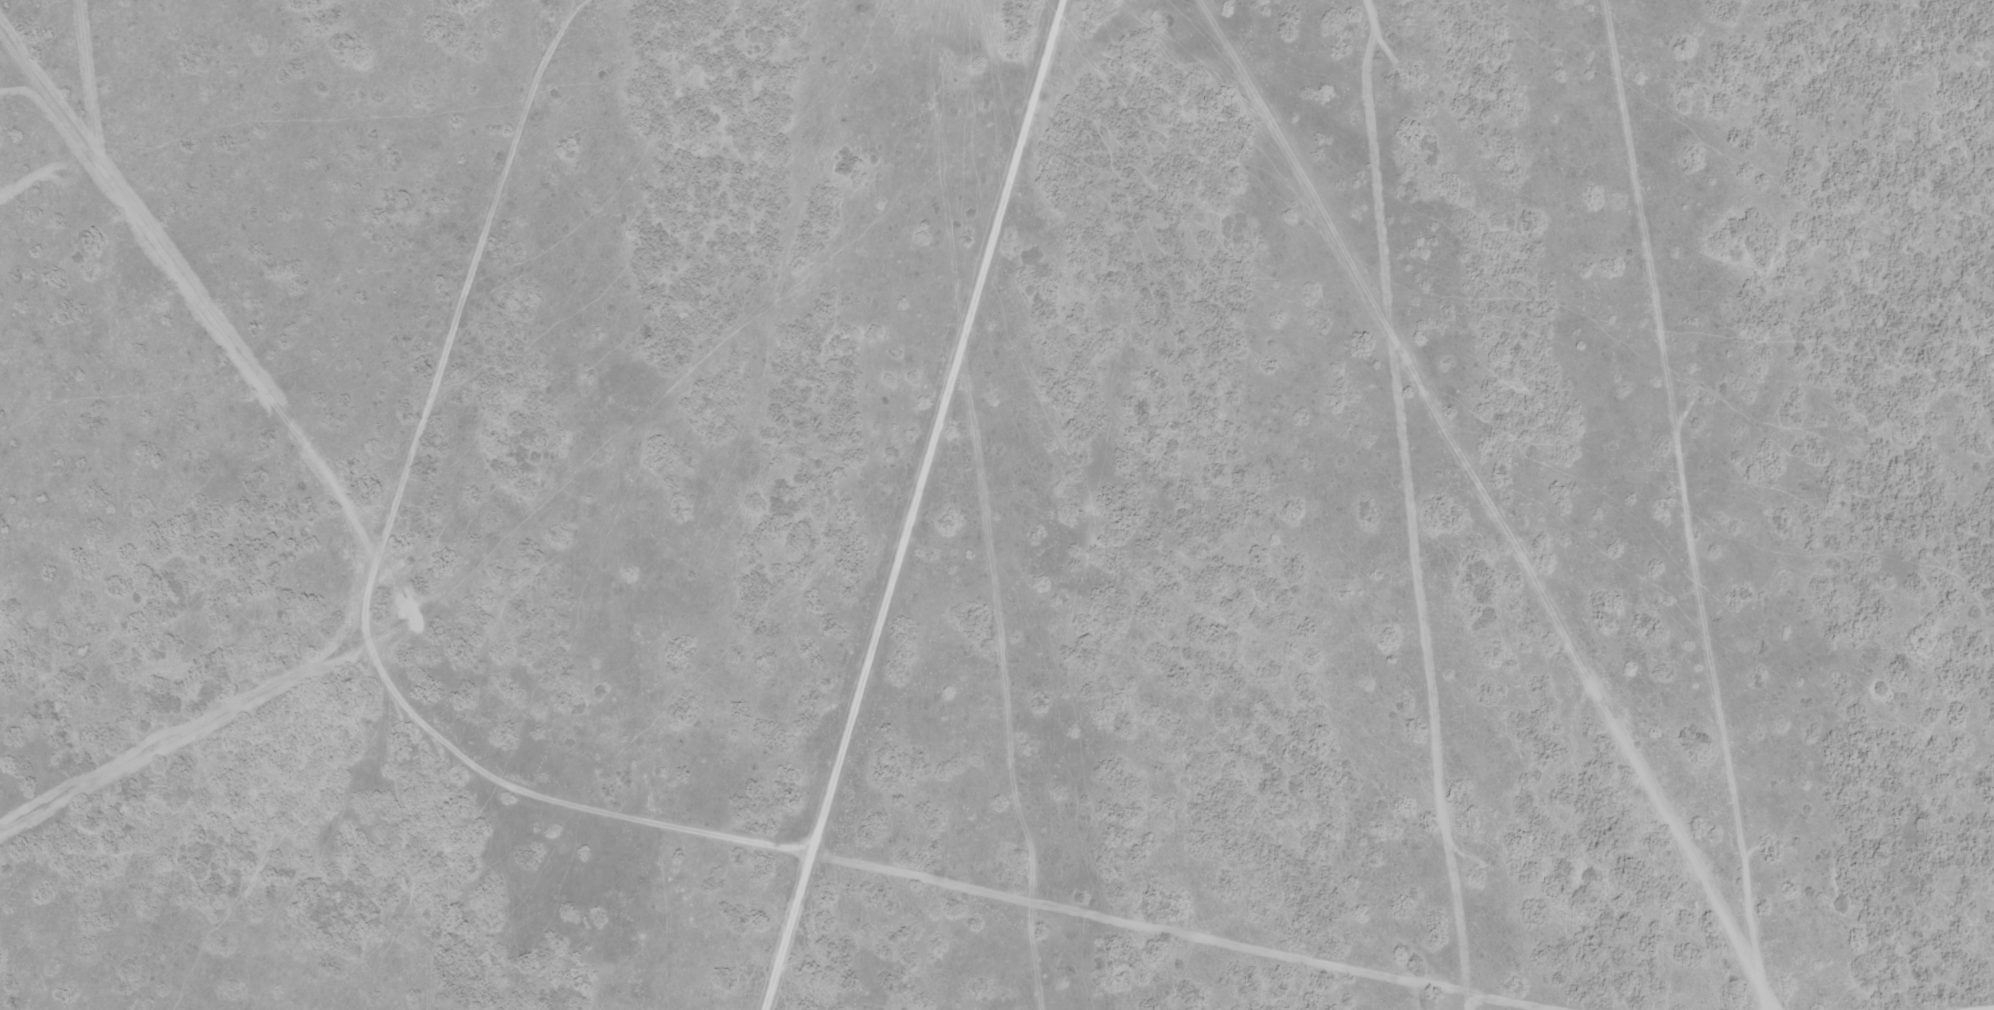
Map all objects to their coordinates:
road: (691, 840)

